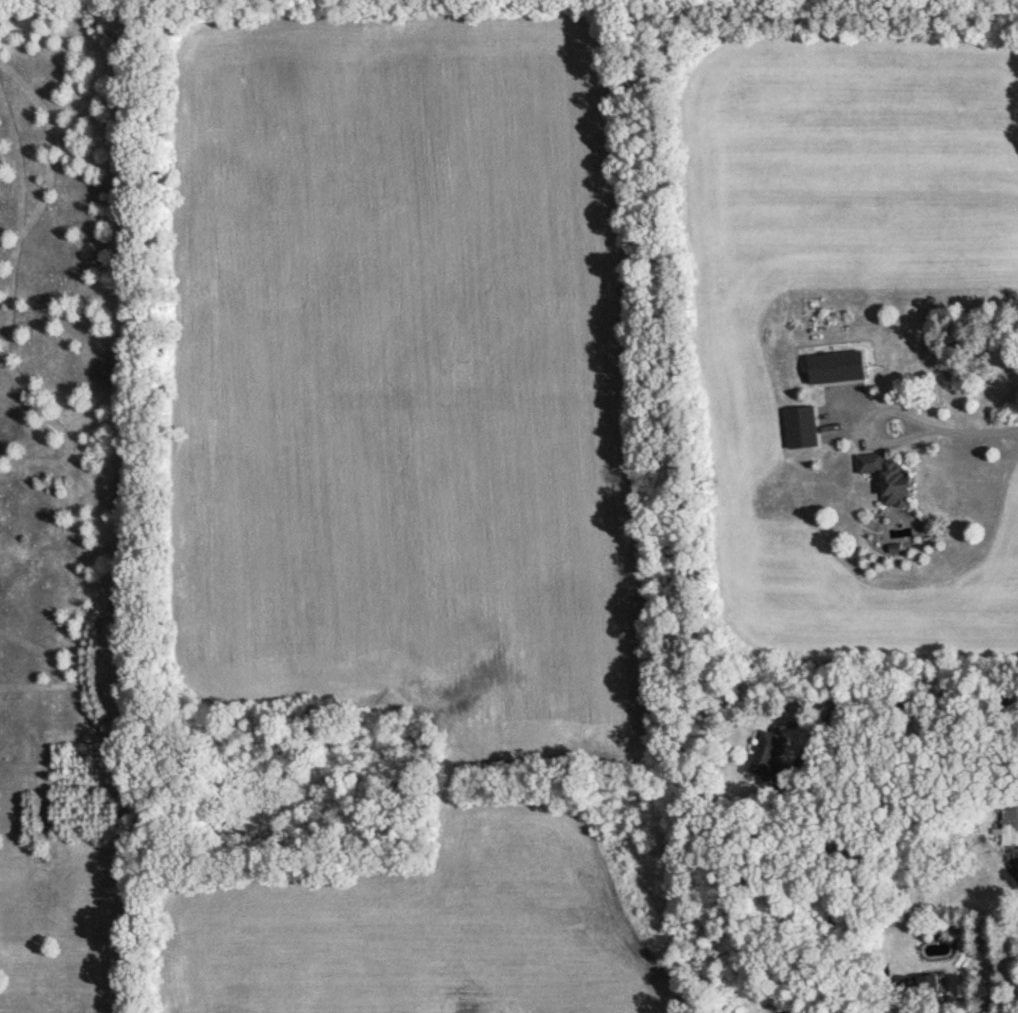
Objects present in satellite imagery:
building: (838, 367)
road: (876, 425)
road: (974, 431)
building: (889, 477)
road: (888, 698)
building: (768, 754)
building: (1010, 824)
building: (931, 988)

